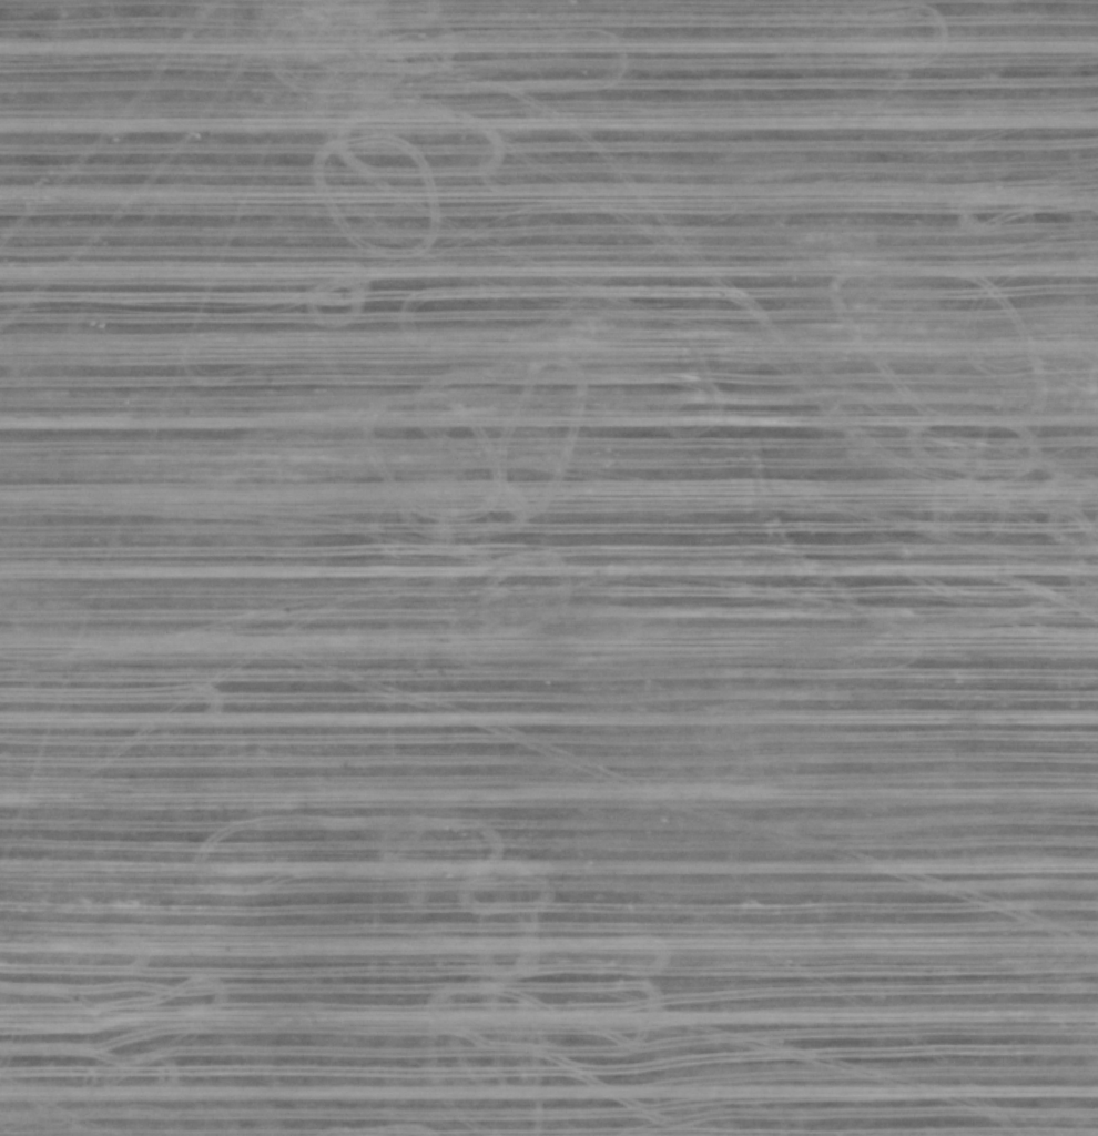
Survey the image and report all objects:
crop: (549, 568)

